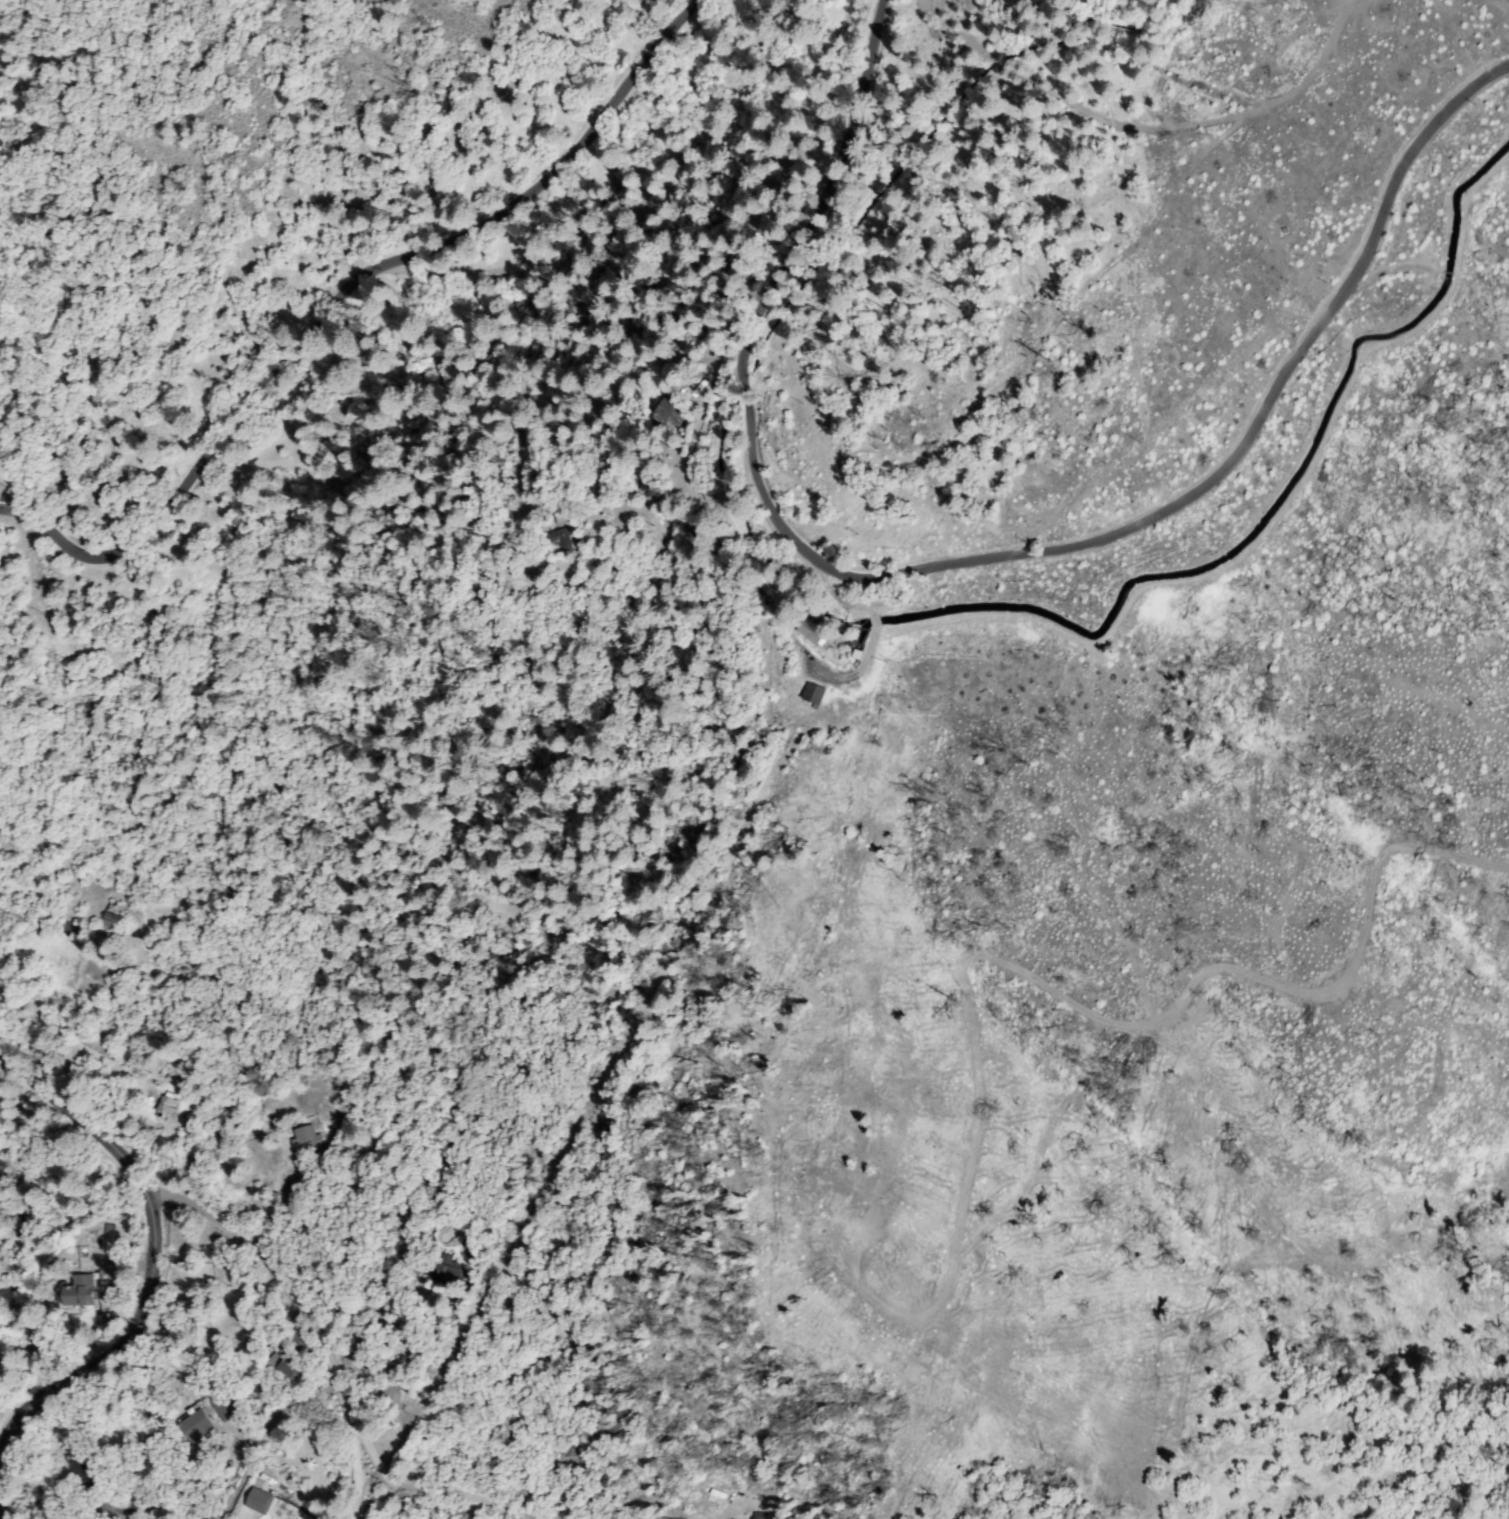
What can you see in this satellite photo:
road: (1143, 123)
building: (737, 265)
road: (371, 330)
building: (667, 413)
building: (648, 473)
building: (562, 538)
road: (982, 545)
building: (810, 632)
building: (858, 654)
building: (814, 694)
building: (112, 920)
building: (70, 928)
building: (167, 1104)
building: (305, 1143)
building: (450, 1155)
building: (107, 1232)
road: (147, 1255)
building: (448, 1272)
building: (78, 1292)
building: (296, 1344)
building: (288, 1366)
building: (227, 1407)
building: (196, 1426)
building: (84, 1474)
building: (261, 1500)

